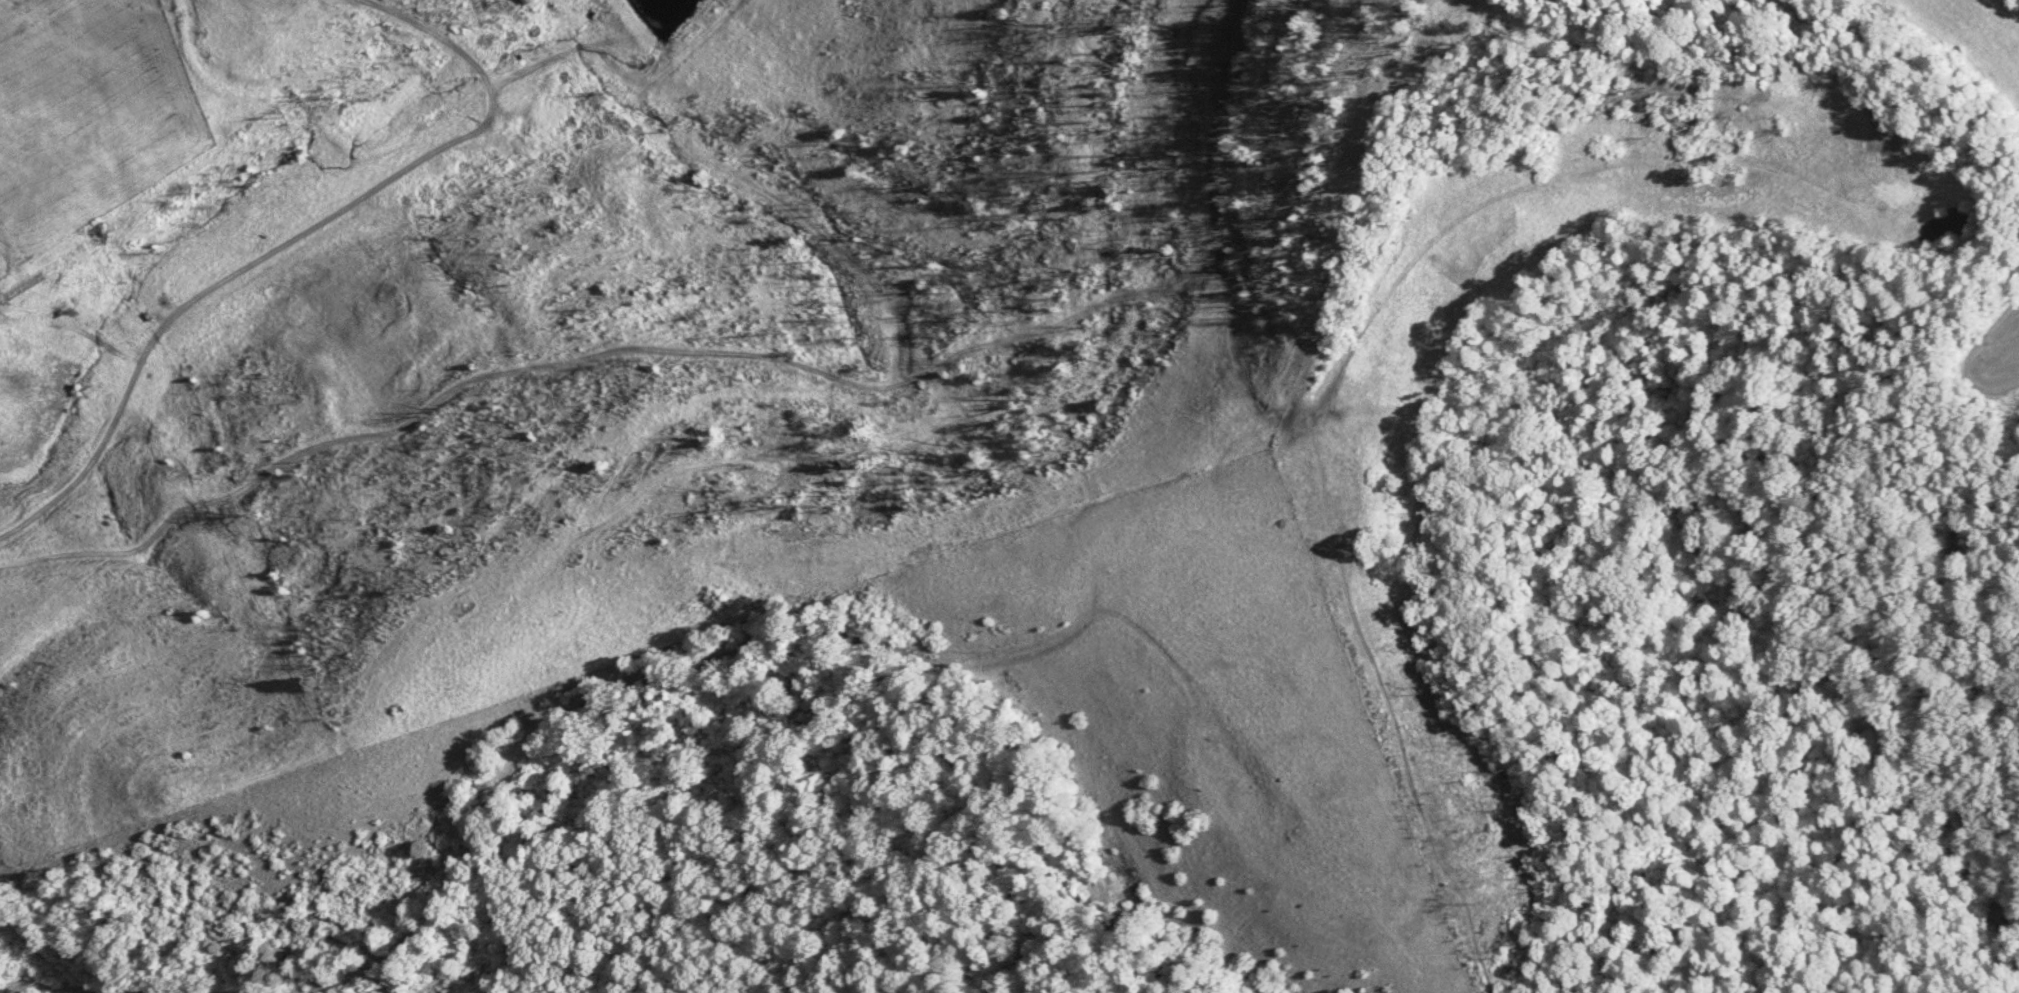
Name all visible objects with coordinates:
building: (100, 231)
road: (288, 242)
building: (2, 353)

